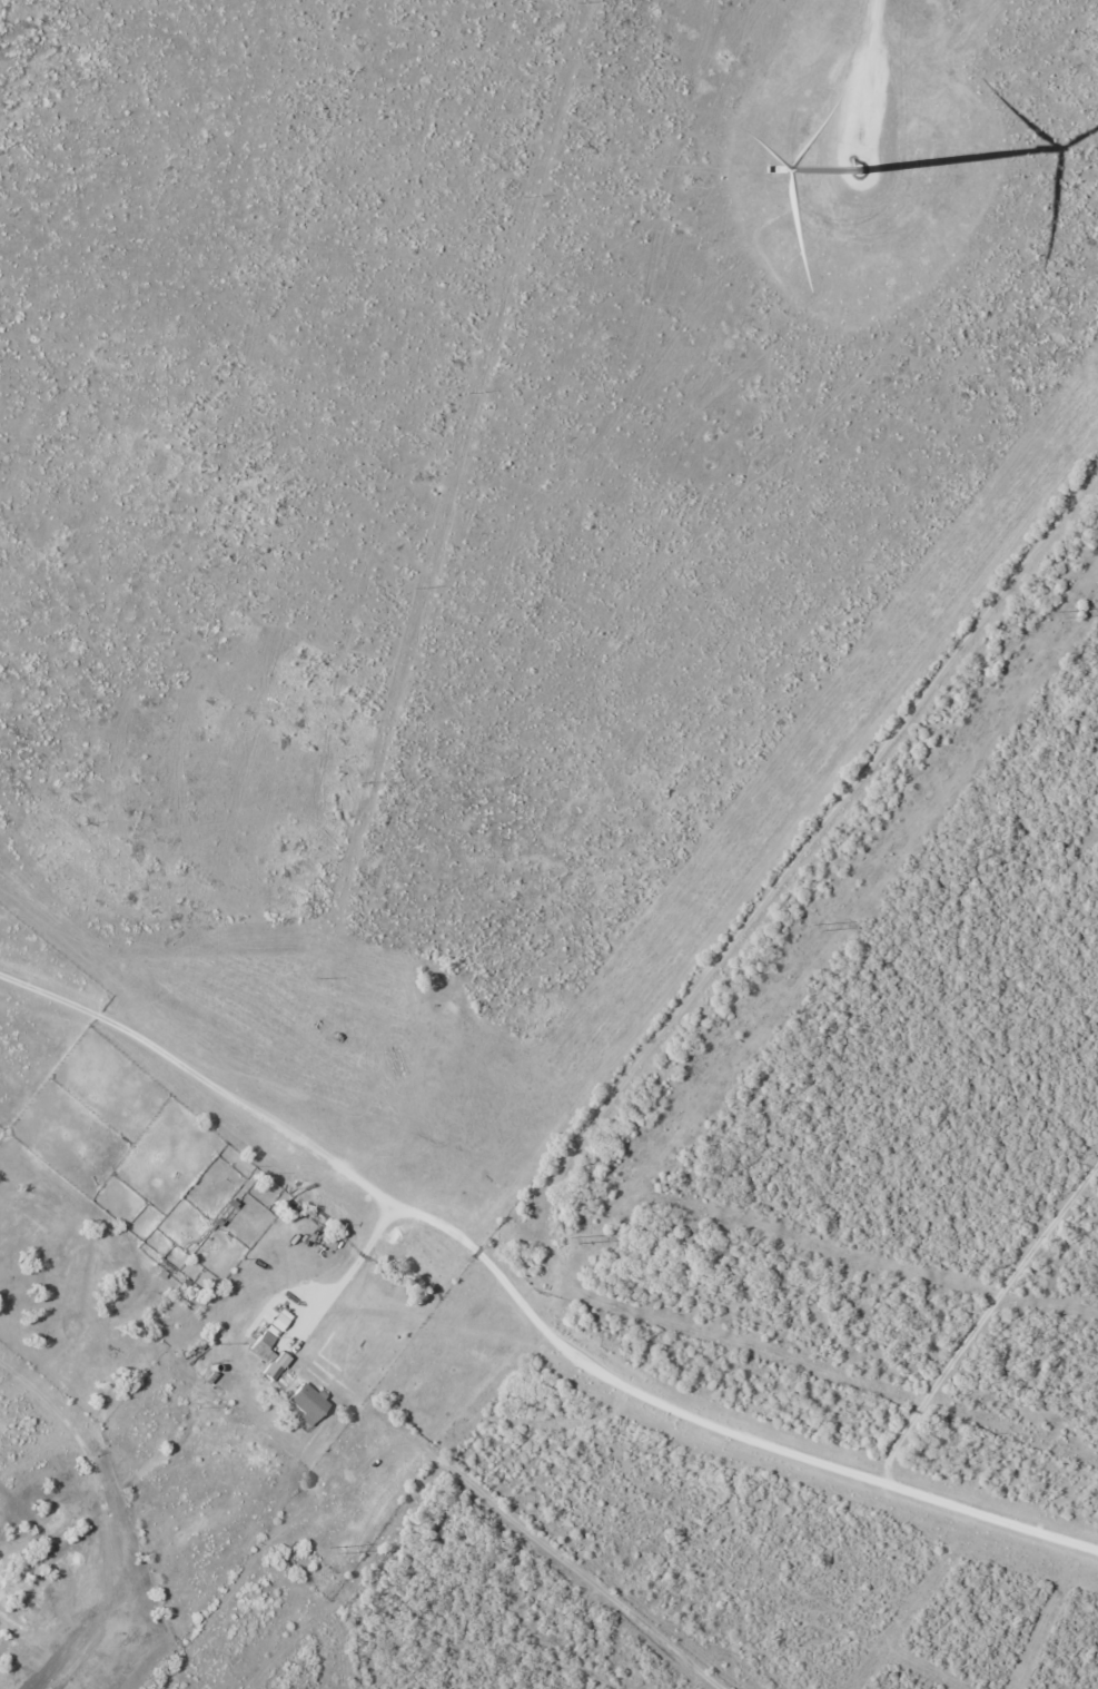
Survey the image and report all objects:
wind turbine: (868, 165)
power tower: (1074, 613)
power tower: (831, 926)
power tower: (590, 1238)
road: (527, 1332)
building: (263, 1346)
building: (307, 1403)
building: (55, 1528)
power tower: (349, 1549)
building: (68, 1555)
building: (2, 1565)
building: (41, 1598)
building: (106, 1662)
building: (46, 1687)

